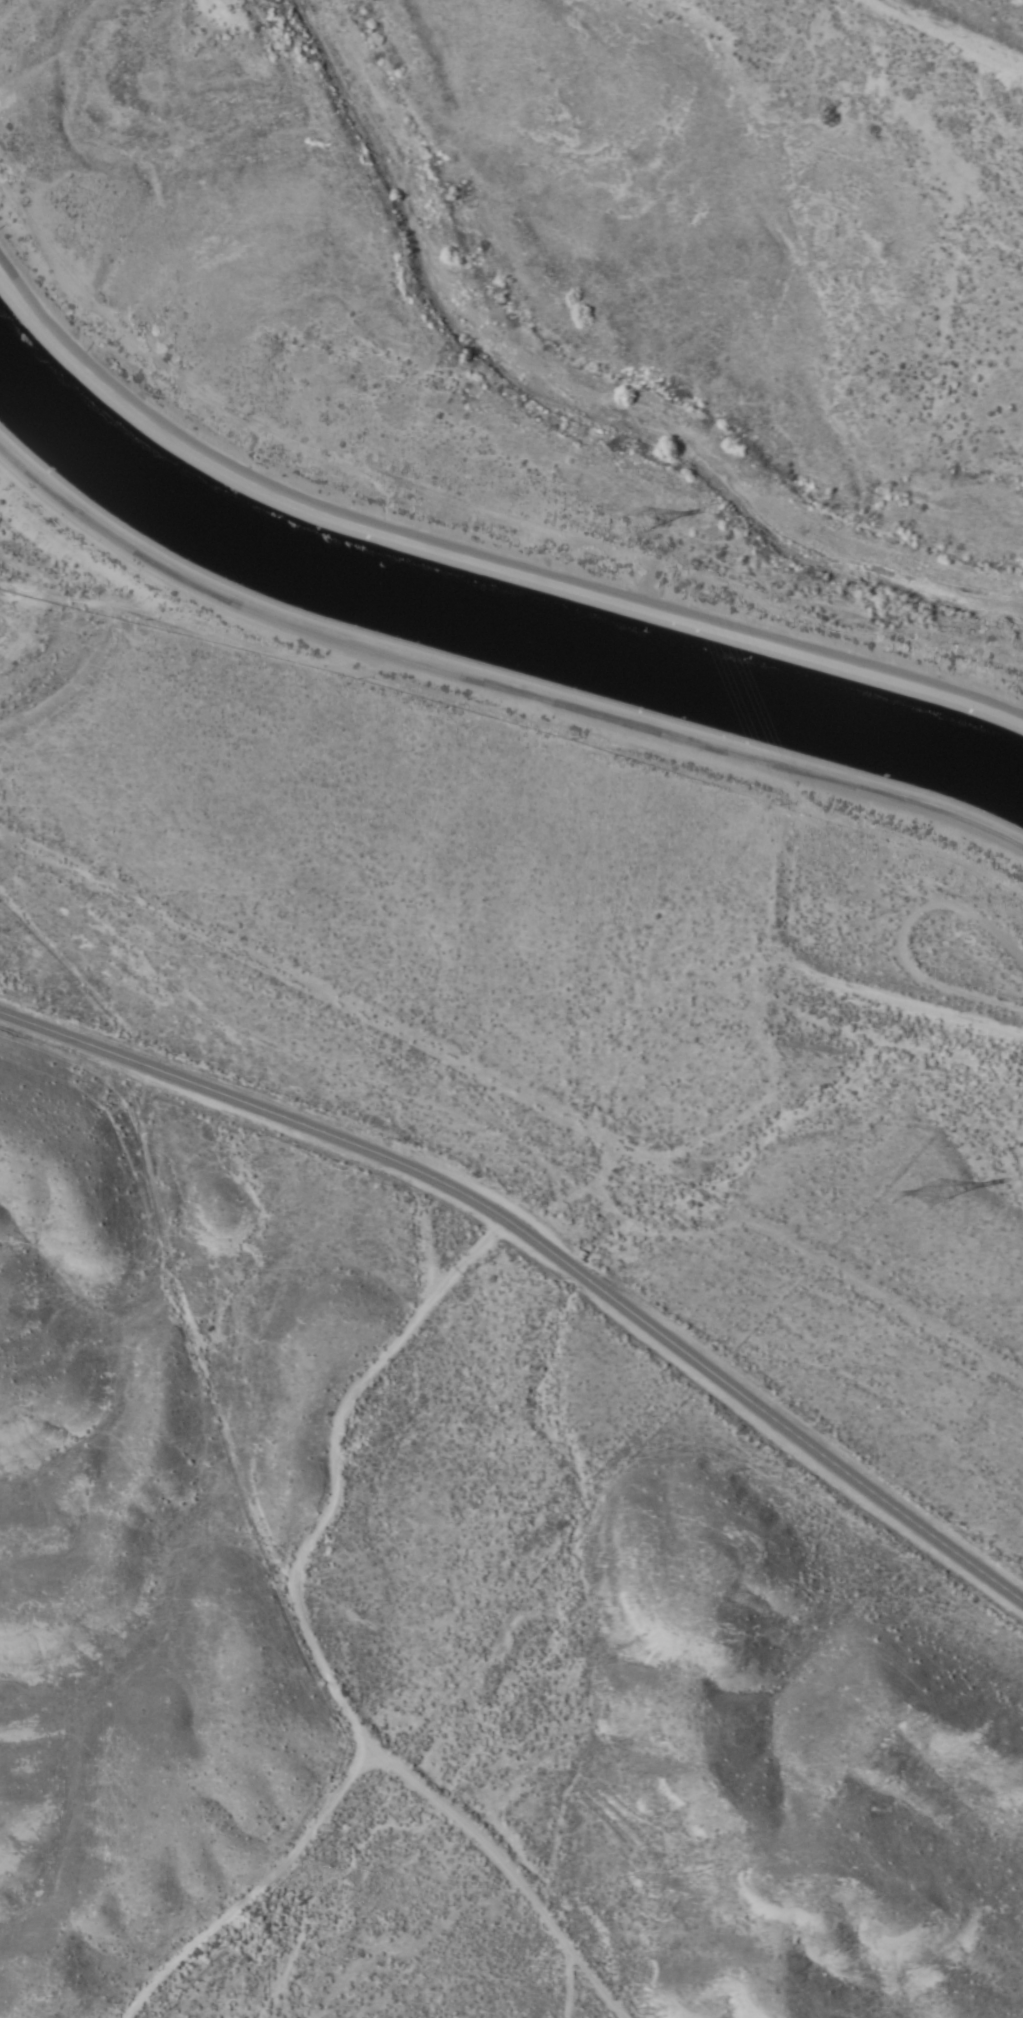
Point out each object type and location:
road: (946, 38)
power tower: (635, 524)
road: (470, 555)
road: (495, 689)
road: (903, 937)
road: (916, 1003)
road: (514, 1083)
power tower: (930, 1188)
road: (544, 1243)
road: (541, 1339)
road: (337, 1624)

